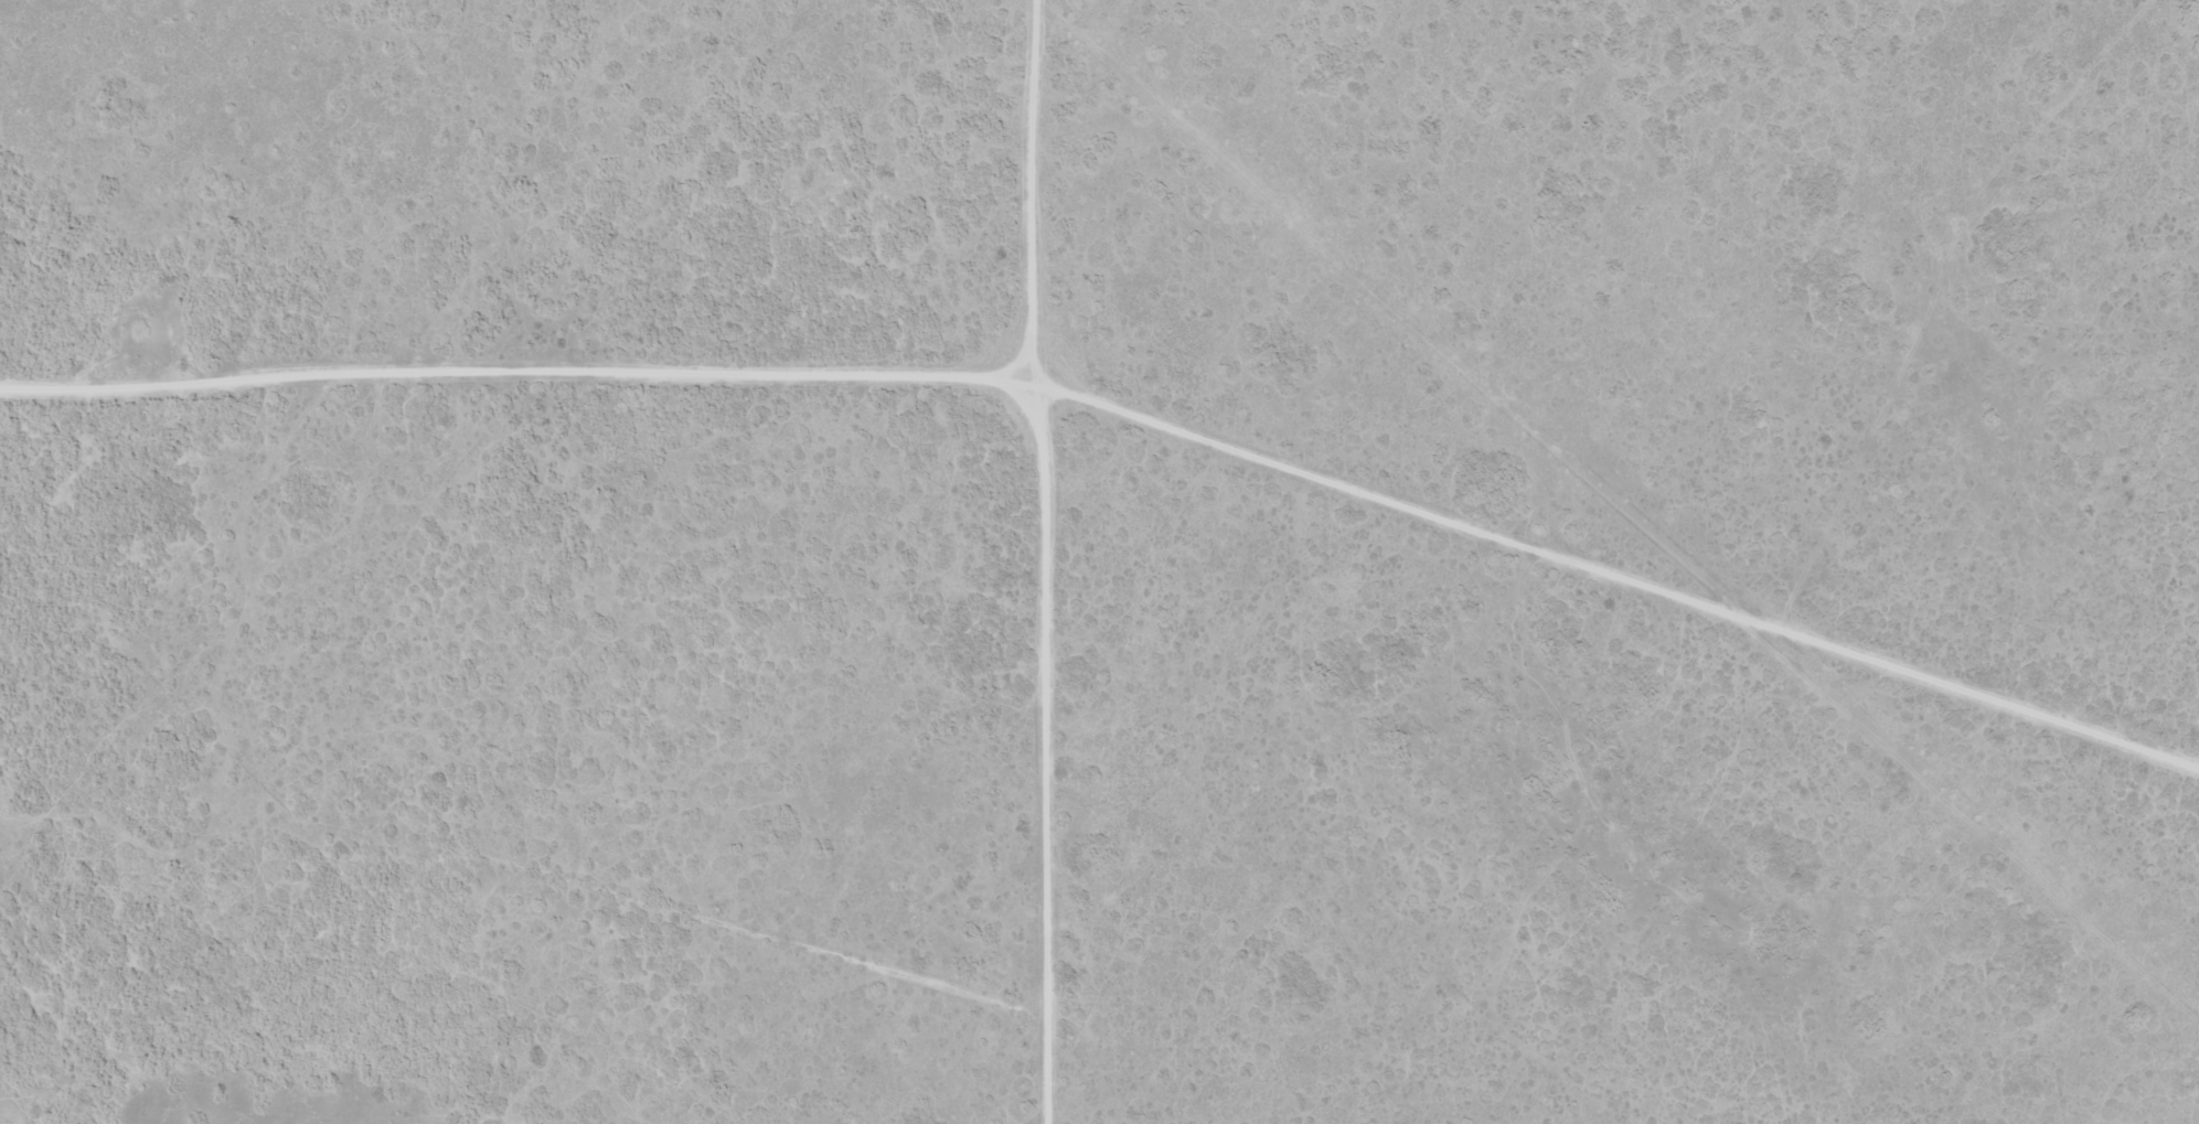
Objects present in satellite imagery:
road: (1125, 400)
road: (1048, 561)

